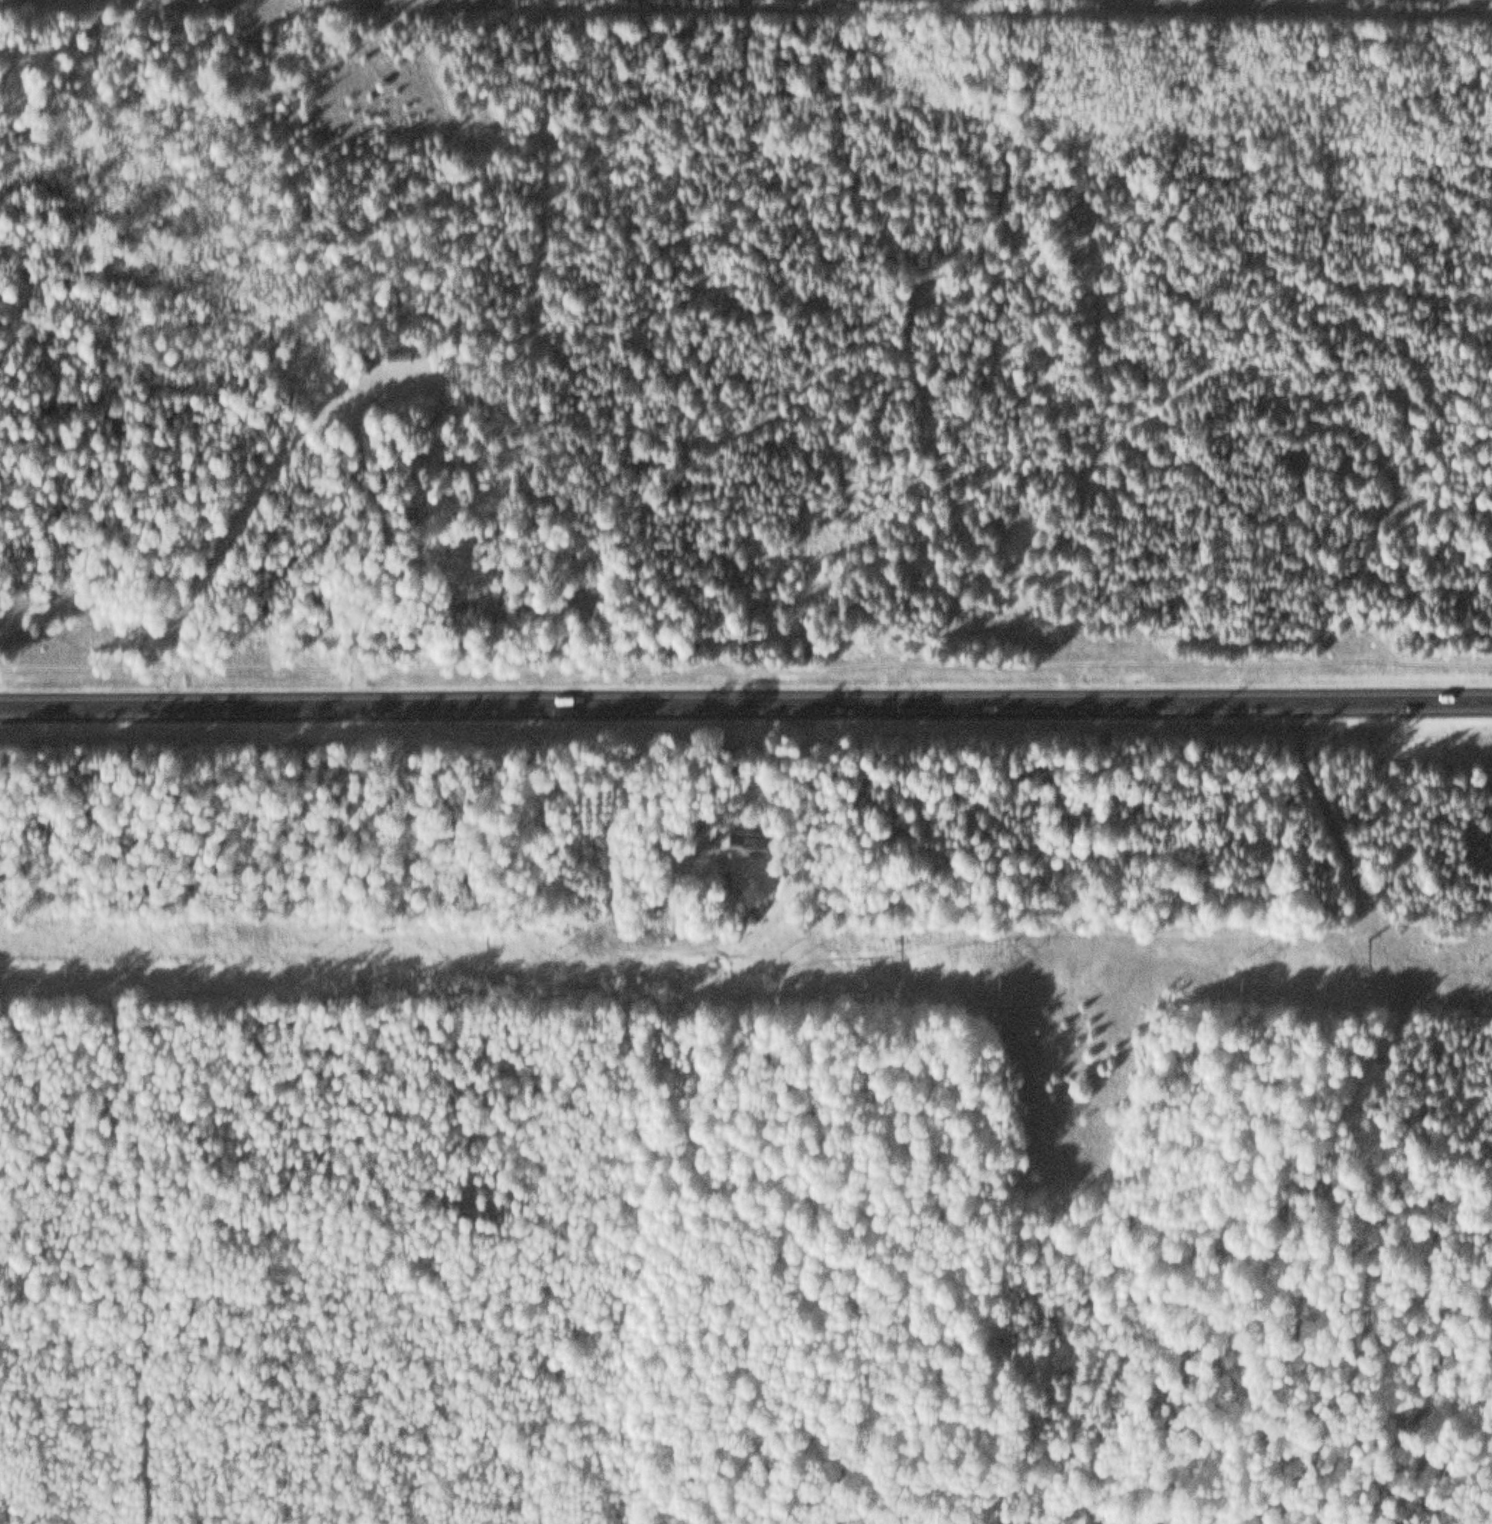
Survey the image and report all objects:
building: (403, 354)
road: (746, 703)
building: (746, 840)
power tower: (484, 927)
power tower: (897, 931)
power tower: (1367, 937)

